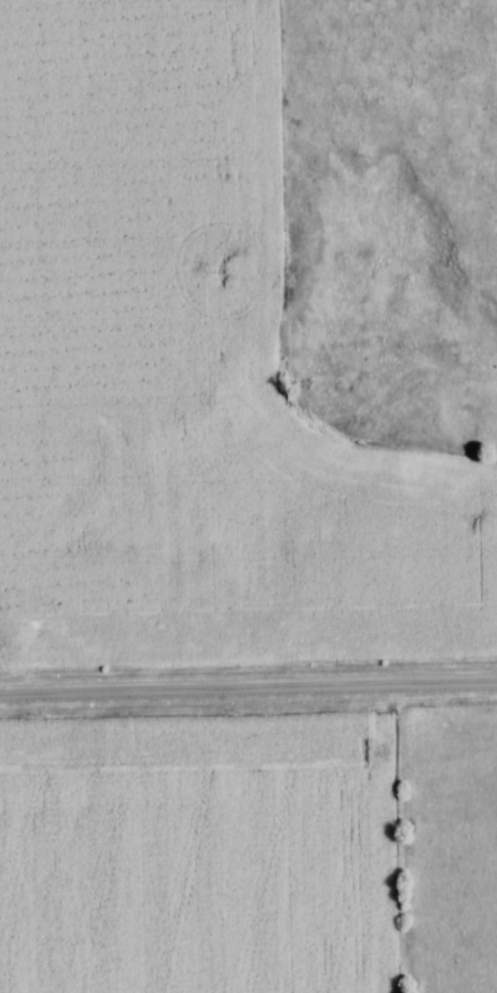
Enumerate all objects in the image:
road: (248, 687)

